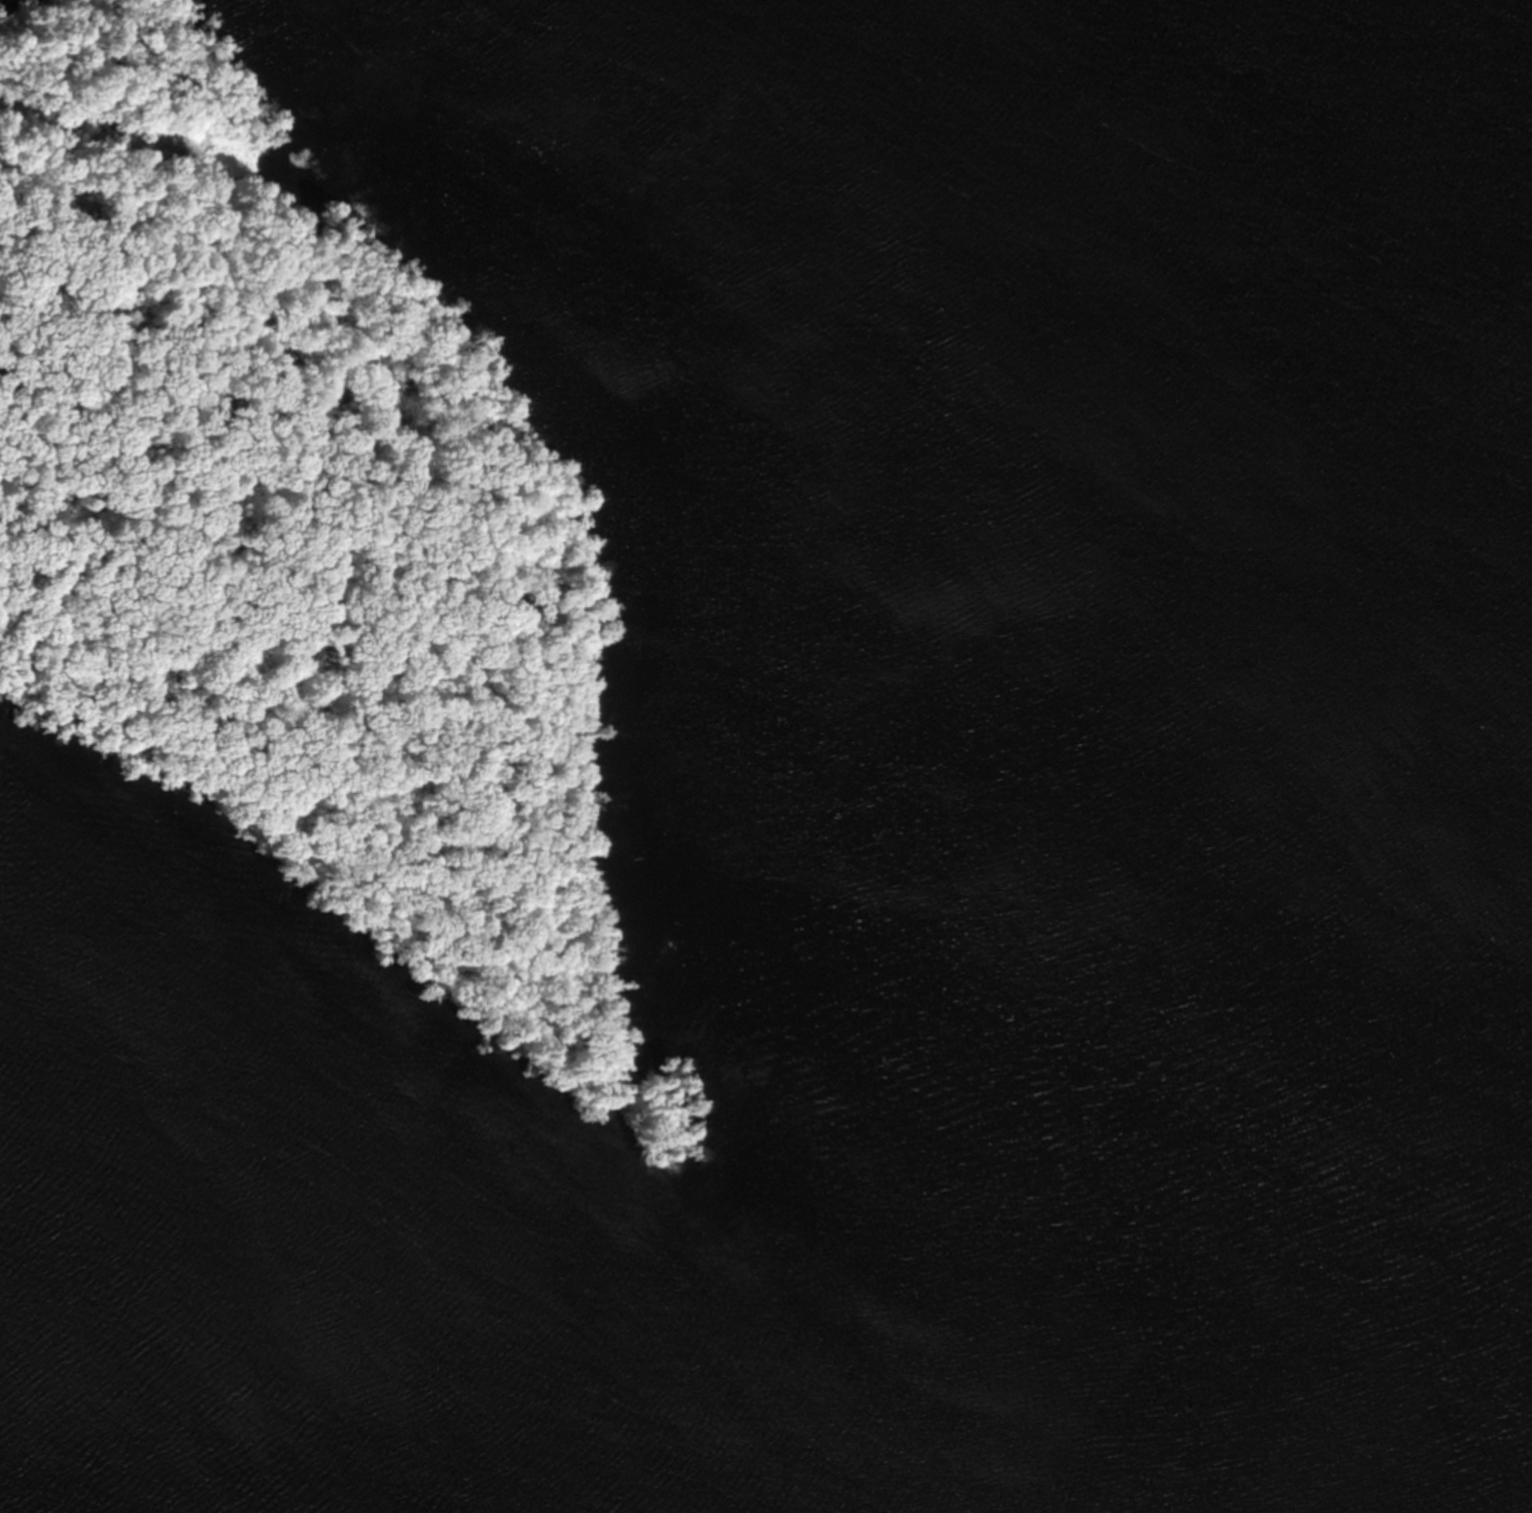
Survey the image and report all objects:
river: (299, 1311)

